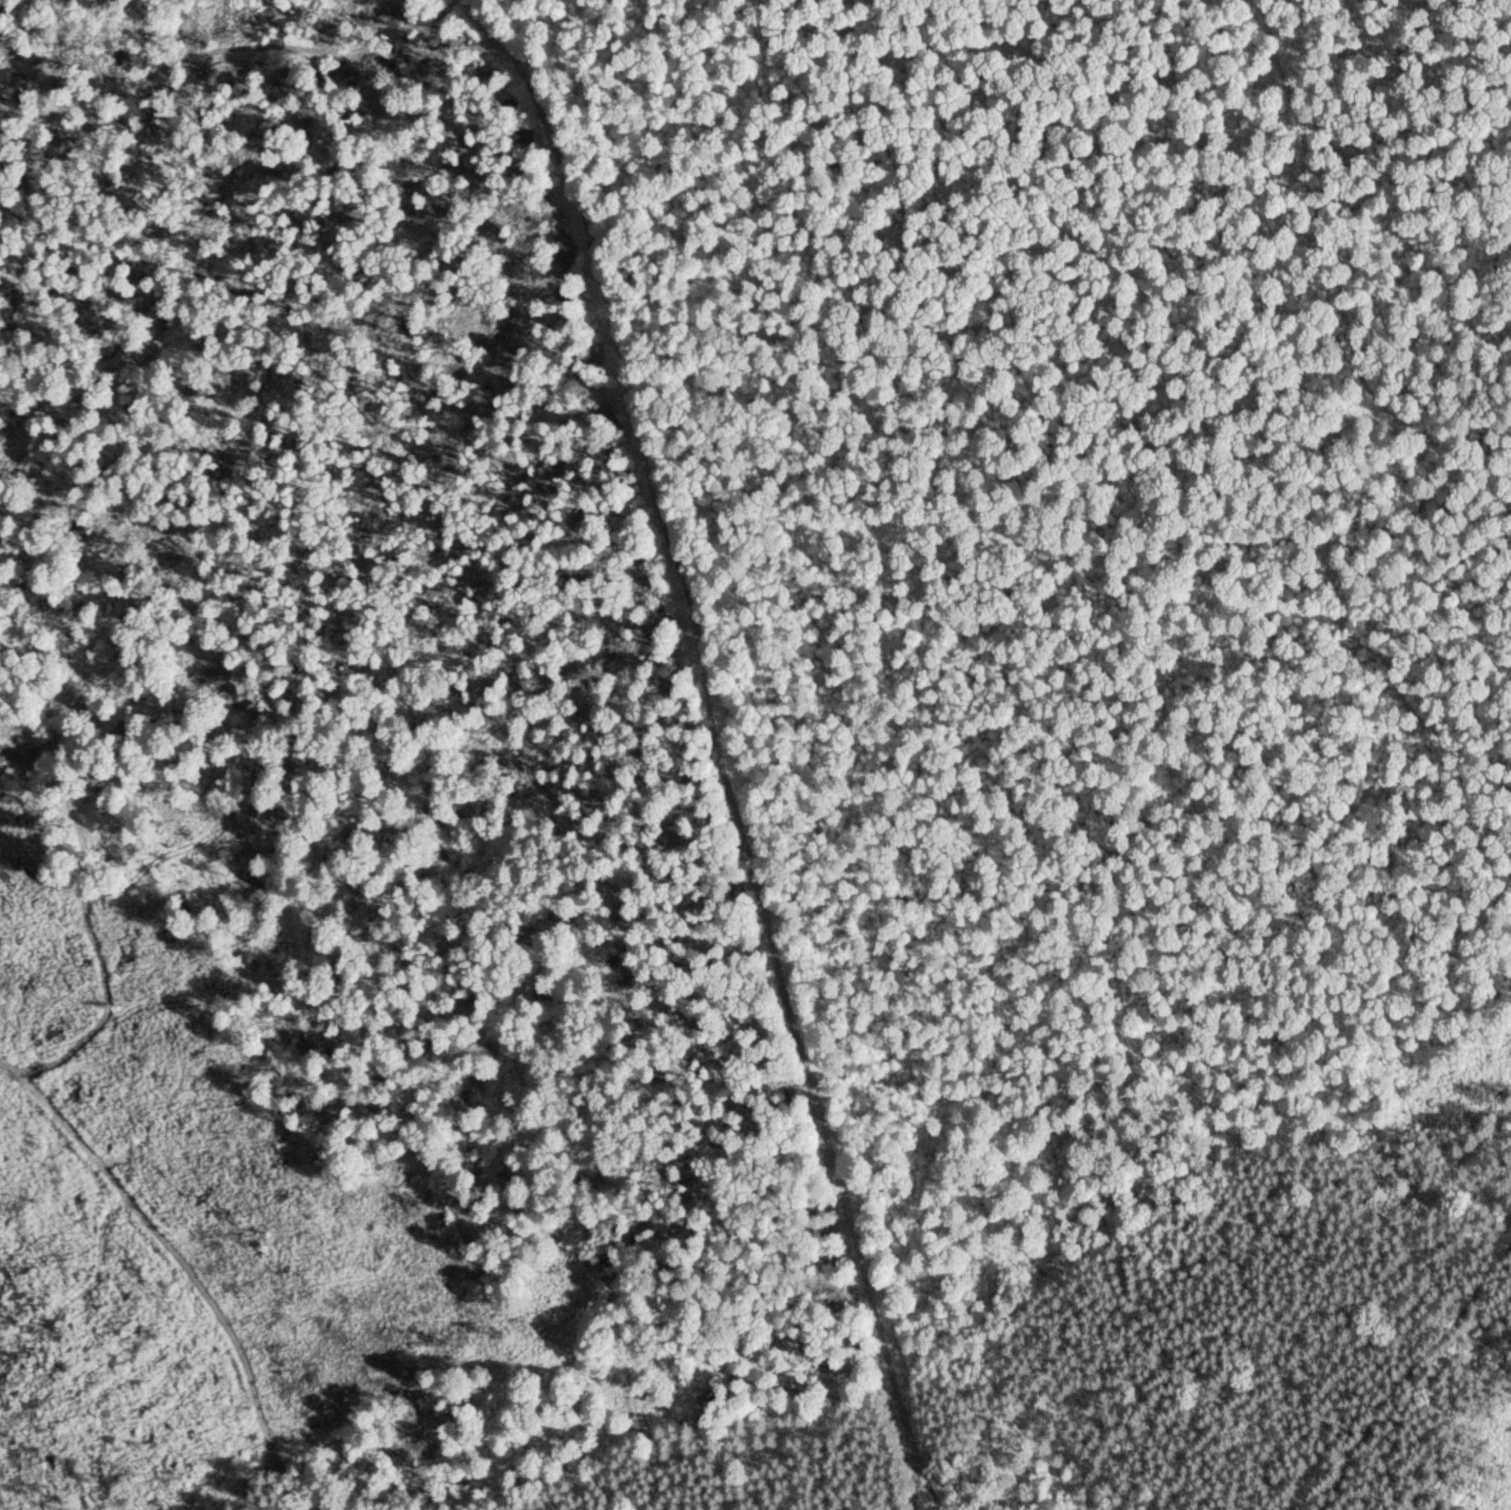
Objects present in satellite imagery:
road: (1337, 273)
road: (728, 744)
road: (184, 1289)
road: (1392, 1363)

